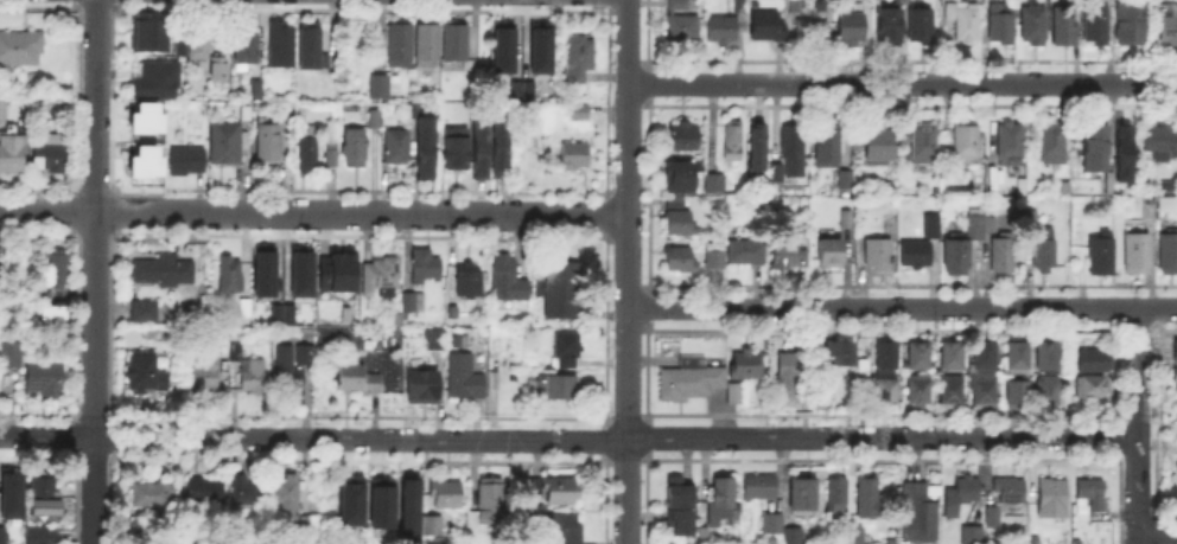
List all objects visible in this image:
building: (794, 7)
building: (961, 23)
building: (681, 25)
building: (725, 25)
building: (999, 25)
building: (1128, 25)
building: (917, 27)
building: (1031, 27)
building: (1094, 27)
building: (1168, 28)
building: (764, 30)
building: (809, 31)
building: (848, 31)
building: (886, 31)
building: (1062, 31)
building: (147, 32)
building: (242, 41)
building: (177, 43)
building: (202, 44)
building: (501, 45)
building: (282, 46)
building: (459, 46)
building: (537, 46)
building: (402, 47)
building: (430, 47)
building: (313, 49)
building: (21, 51)
building: (581, 60)
building: (214, 72)
building: (153, 77)
road: (902, 82)
building: (253, 87)
building: (387, 88)
building: (513, 89)
building: (526, 89)
building: (291, 113)
building: (4, 114)
building: (578, 114)
building: (248, 115)
building: (376, 121)
building: (682, 135)
building: (144, 137)
building: (730, 142)
building: (1160, 142)
building: (791, 143)
building: (922, 145)
building: (1051, 145)
building: (228, 146)
building: (269, 146)
building: (1007, 146)
building: (425, 147)
building: (453, 147)
building: (502, 147)
building: (756, 147)
building: (874, 147)
building: (963, 147)
building: (399, 148)
building: (481, 148)
building: (826, 148)
building: (358, 149)
building: (1120, 151)
building: (13, 152)
building: (311, 152)
building: (1093, 153)
building: (332, 155)
building: (577, 156)
building: (51, 161)
building: (189, 162)
building: (776, 171)
building: (676, 175)
building: (846, 178)
building: (711, 181)
building: (992, 188)
building: (892, 201)
building: (672, 204)
road: (313, 211)
building: (845, 222)
building: (988, 226)
building: (675, 228)
building: (933, 232)
building: (961, 251)
building: (1042, 254)
building: (1134, 254)
building: (745, 255)
building: (877, 255)
building: (826, 256)
building: (914, 256)
building: (1168, 256)
building: (787, 257)
building: (1098, 257)
building: (712, 258)
building: (999, 258)
building: (676, 262)
building: (262, 269)
building: (299, 269)
building: (428, 269)
building: (4, 270)
building: (58, 270)
road: (94, 271)
road: (626, 271)
building: (158, 273)
building: (341, 273)
building: (233, 279)
building: (382, 280)
building: (471, 282)
building: (509, 283)
building: (566, 292)
building: (352, 301)
building: (414, 305)
road: (901, 306)
building: (247, 309)
building: (450, 309)
building: (49, 311)
building: (146, 313)
building: (274, 313)
building: (286, 313)
building: (396, 319)
building: (58, 320)
building: (432, 337)
building: (453, 339)
building: (570, 350)
building: (836, 351)
building: (301, 352)
building: (240, 354)
building: (1173, 356)
building: (1014, 357)
building: (13, 358)
building: (917, 359)
building: (981, 359)
building: (884, 360)
building: (948, 360)
building: (1044, 360)
building: (1090, 364)
building: (742, 369)
road: (1139, 371)
building: (285, 375)
building: (460, 375)
building: (146, 376)
building: (789, 378)
building: (208, 379)
building: (255, 379)
building: (1173, 379)
building: (47, 380)
building: (360, 380)
building: (687, 382)
building: (419, 384)
building: (559, 385)
building: (1088, 389)
building: (884, 391)
building: (949, 392)
building: (916, 393)
building: (981, 393)
building: (1014, 395)
building: (1045, 395)
building: (731, 398)
road: (570, 440)
road: (1139, 484)
building: (763, 489)
building: (9, 491)
building: (443, 492)
building: (1052, 492)
building: (206, 493)
building: (247, 493)
building: (562, 493)
building: (46, 494)
building: (1010, 495)
building: (840, 497)
building: (1094, 497)
building: (290, 498)
building: (963, 498)
building: (152, 499)
building: (348, 499)
building: (808, 499)
building: (380, 501)
building: (871, 503)
building: (485, 505)
building: (723, 505)
building: (407, 506)
building: (677, 507)
building: (922, 516)
building: (993, 520)
building: (430, 523)
building: (316, 525)
building: (772, 526)
building: (565, 530)
building: (2, 532)
road: (1158, 532)
building: (793, 536)
building: (973, 536)
building: (44, 537)
road: (1139, 538)

